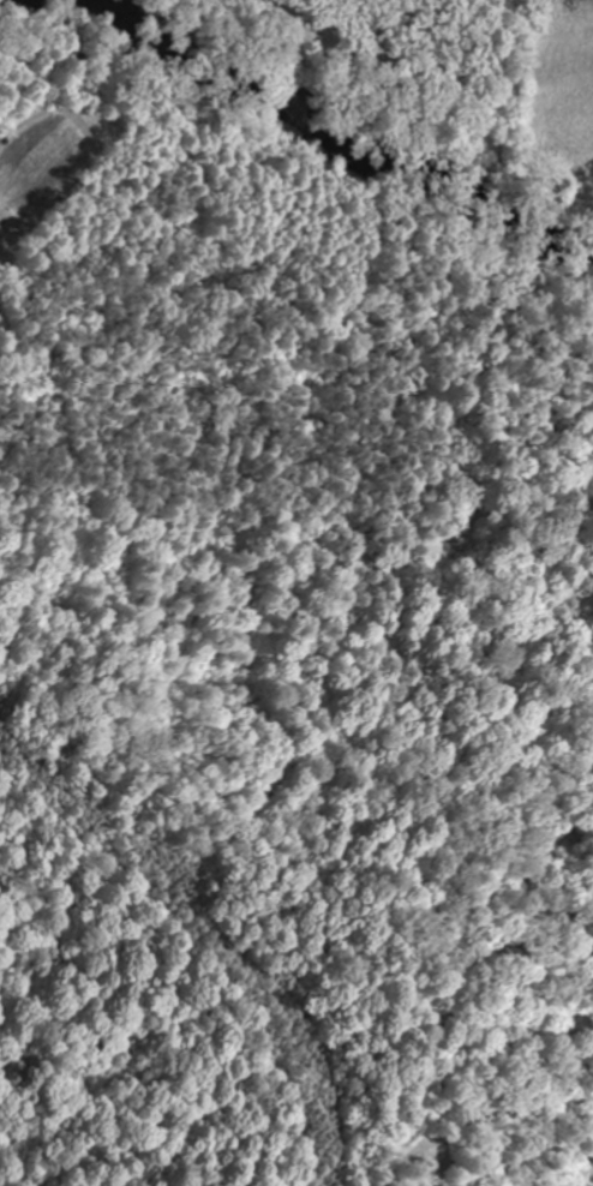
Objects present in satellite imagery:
road: (107, 84)

